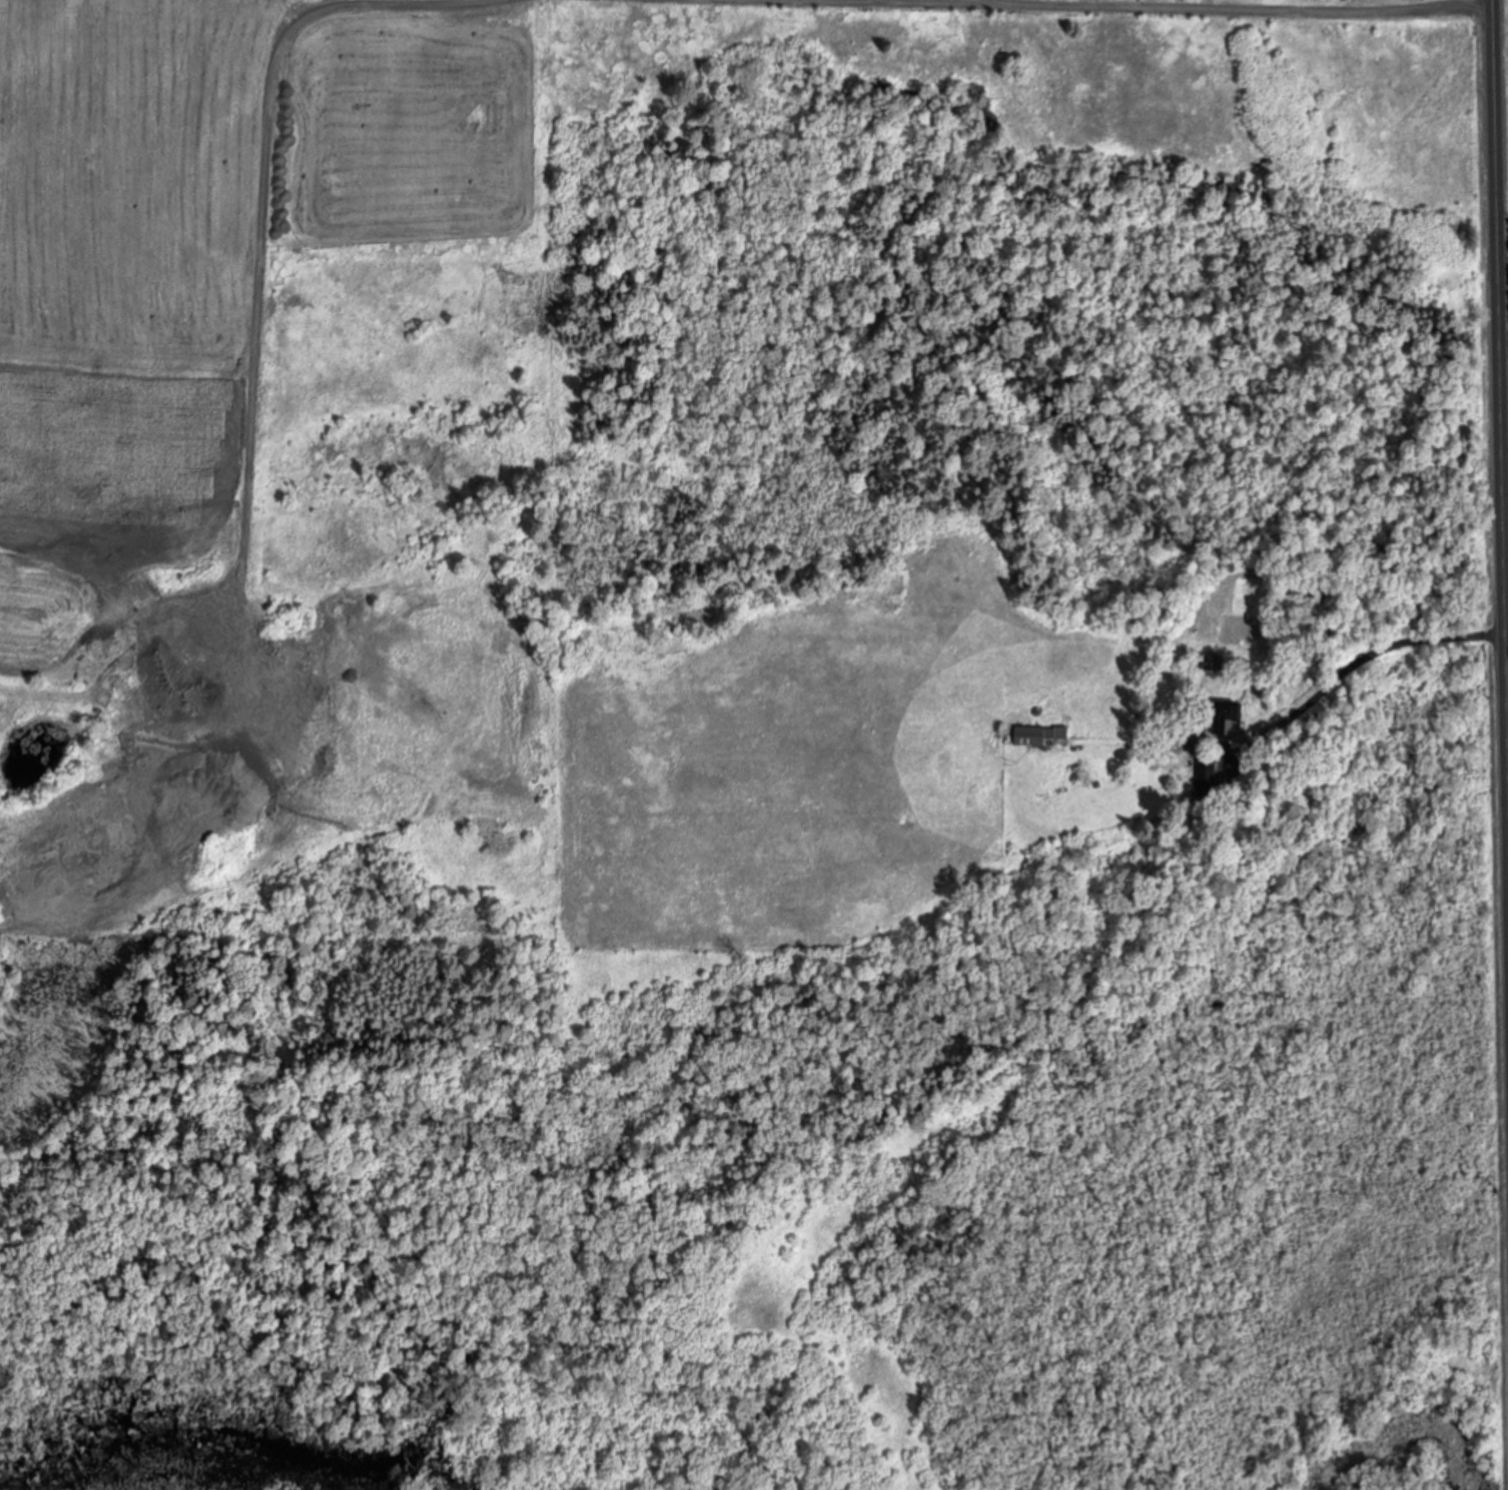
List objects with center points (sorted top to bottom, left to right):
road: (1499, 582)
building: (1213, 659)
building: (1043, 732)
building: (1207, 772)

